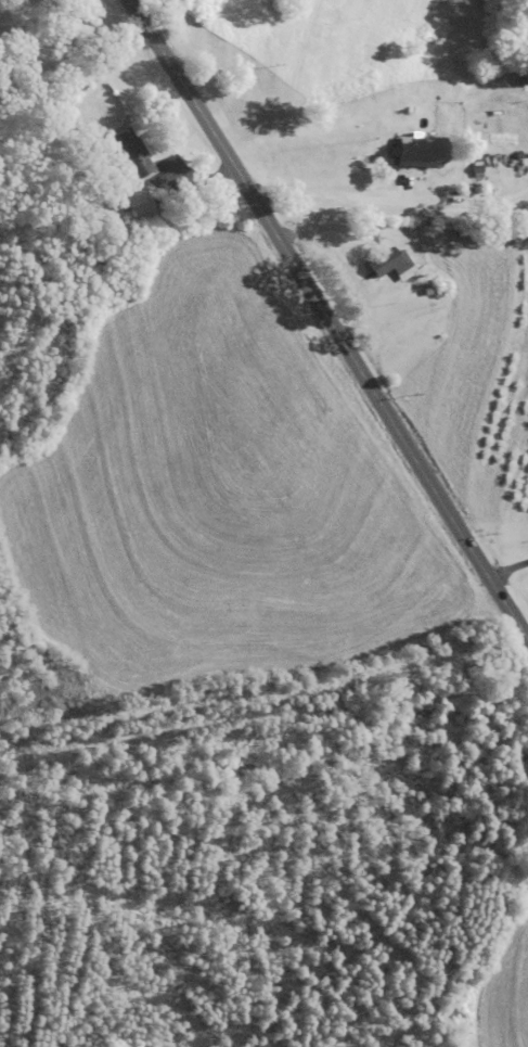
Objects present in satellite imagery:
road: (361, 56)
building: (525, 78)
building: (423, 151)
building: (133, 155)
building: (143, 214)
road: (422, 254)
building: (394, 266)
road: (327, 321)
road: (459, 452)
road: (270, 579)

